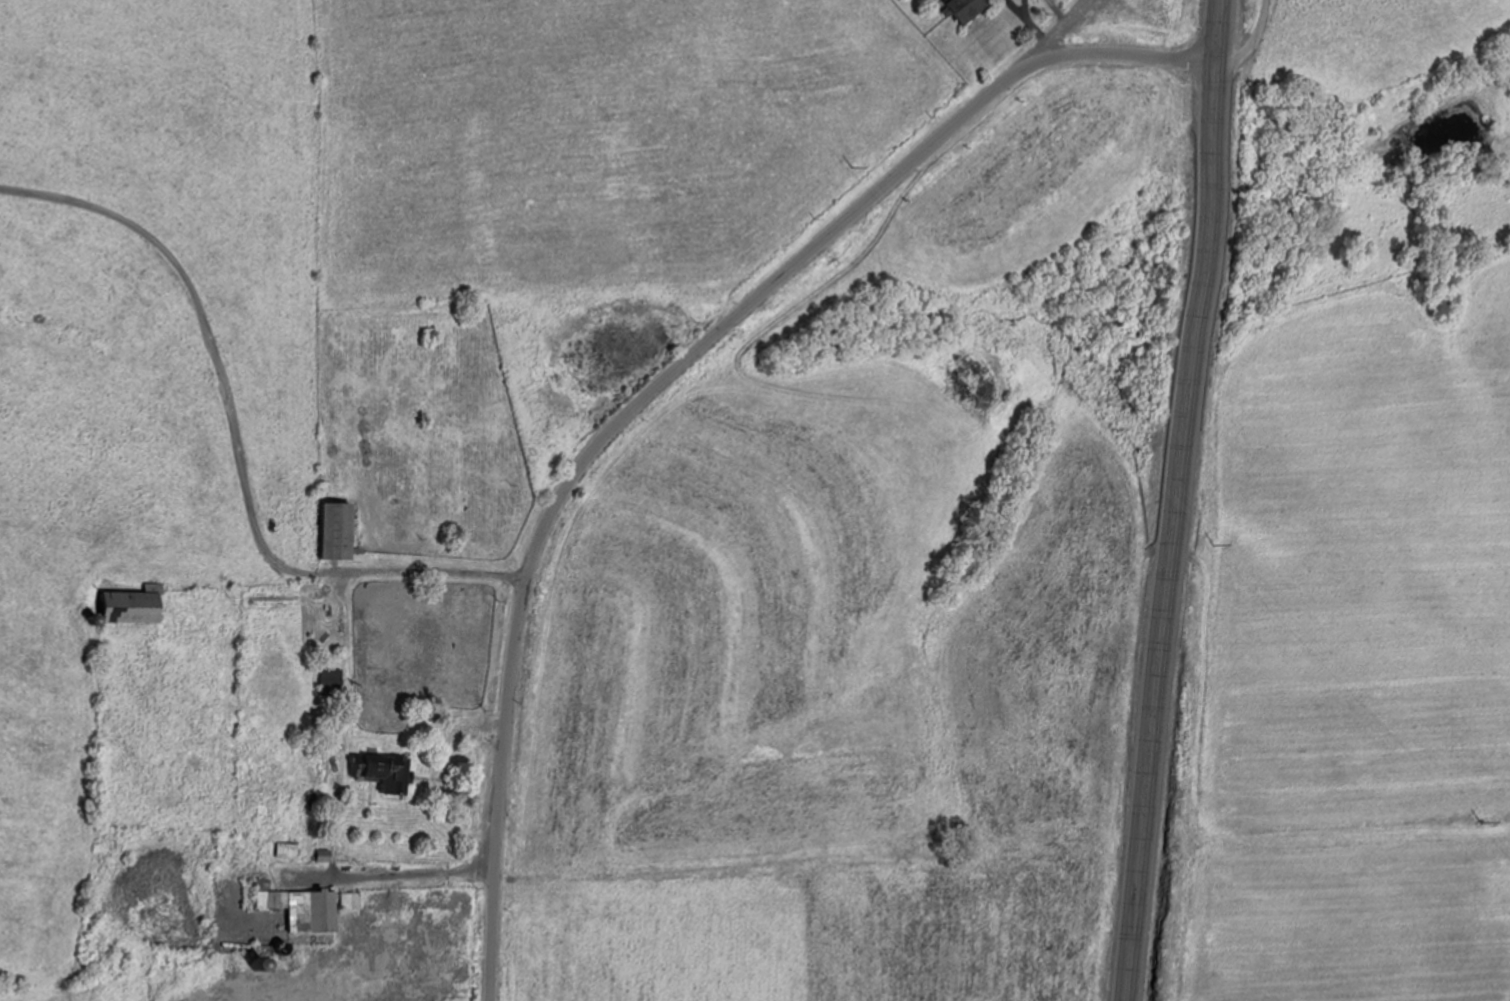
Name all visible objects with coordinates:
building: (969, 9)
road: (1065, 26)
road: (1256, 44)
power tower: (870, 165)
road: (664, 379)
road: (261, 415)
road: (1174, 500)
building: (340, 534)
power tower: (1237, 546)
building: (135, 607)
building: (331, 682)
building: (321, 769)
building: (384, 774)
power tower: (1488, 821)

